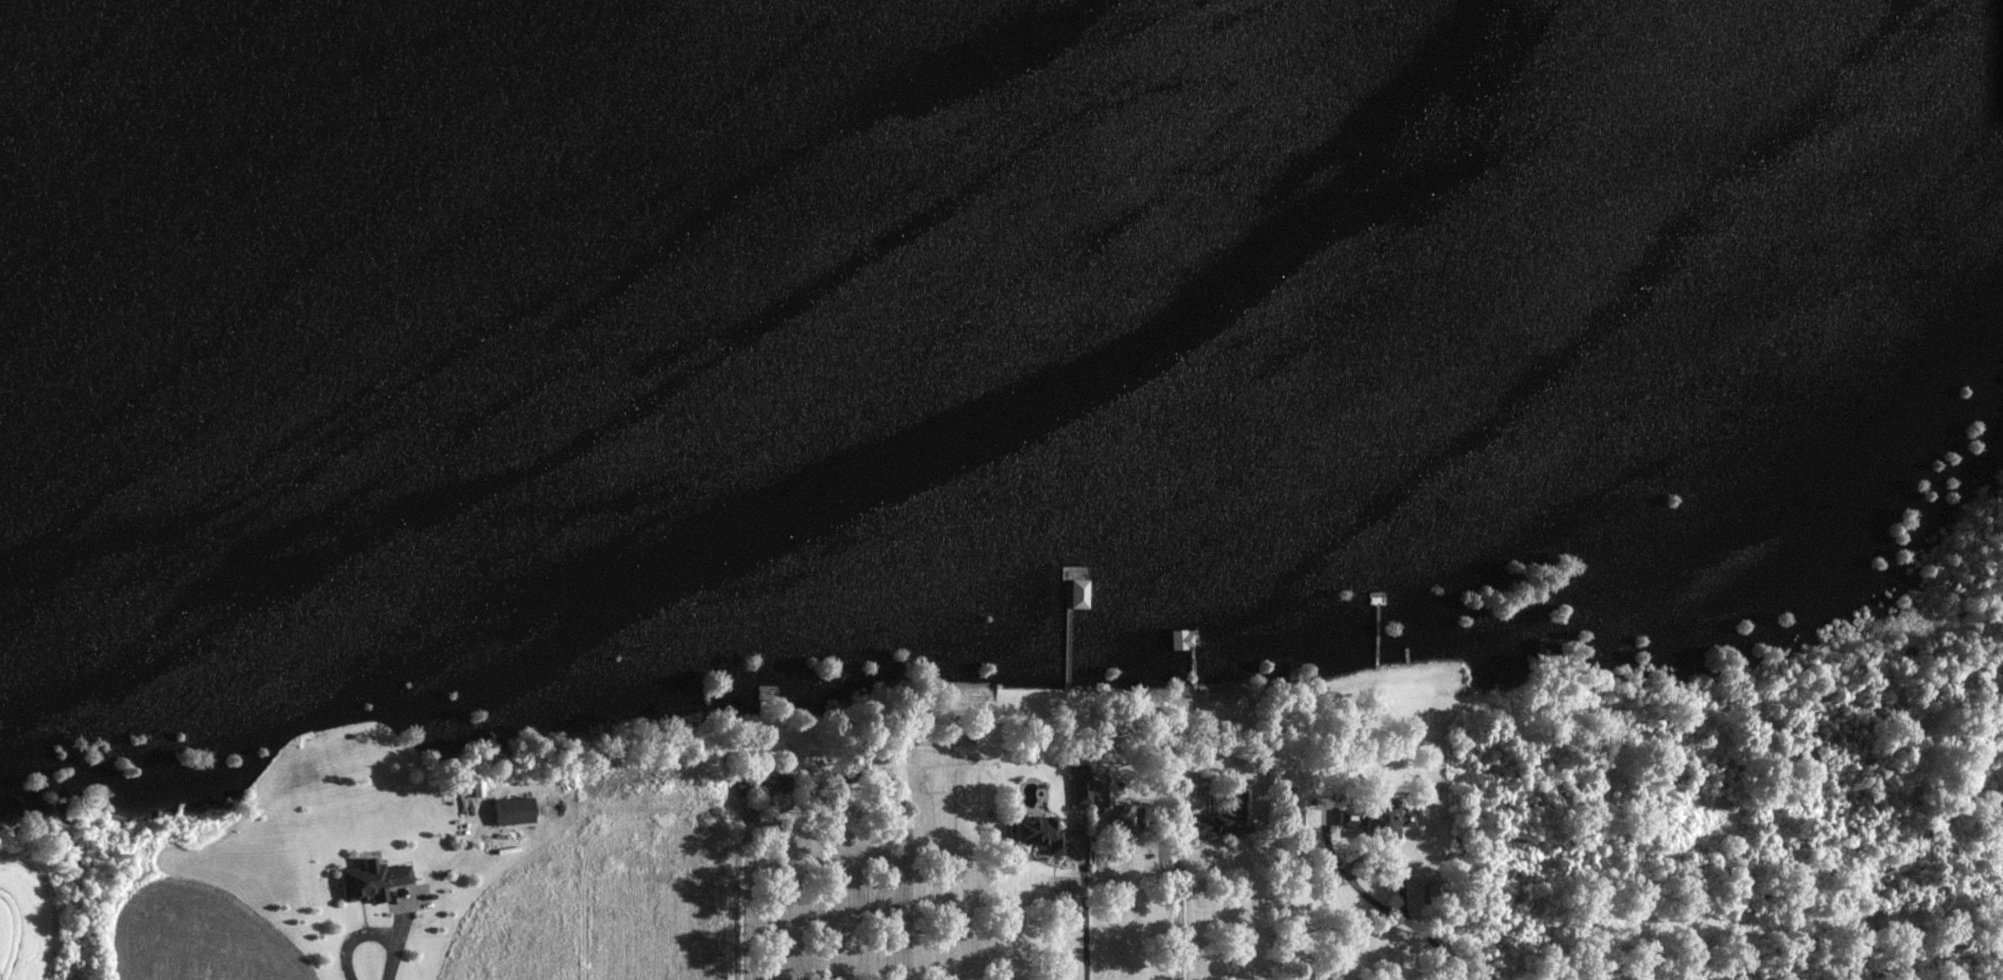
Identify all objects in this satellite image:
building: (1178, 643)
building: (507, 815)
building: (375, 883)
road: (1443, 906)
road: (745, 923)
road: (1184, 927)

